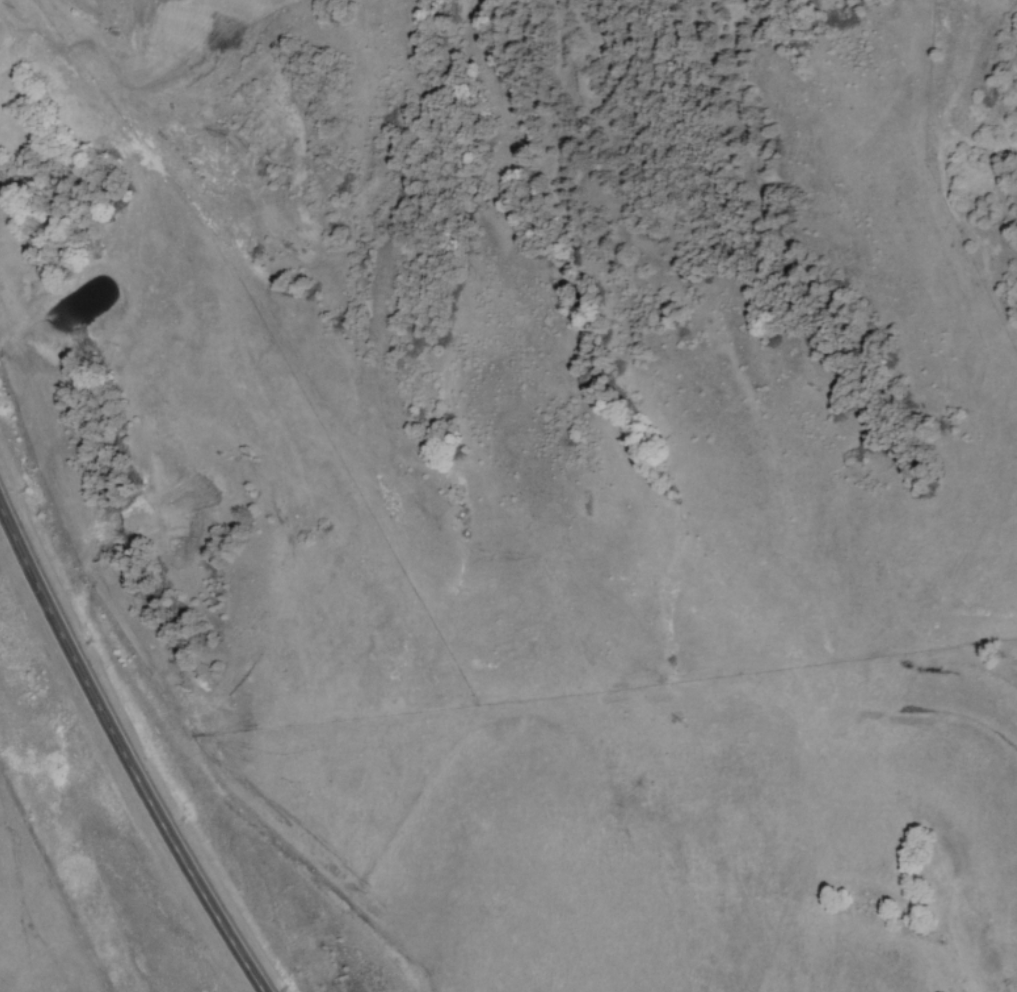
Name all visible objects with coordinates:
road: (121, 754)

